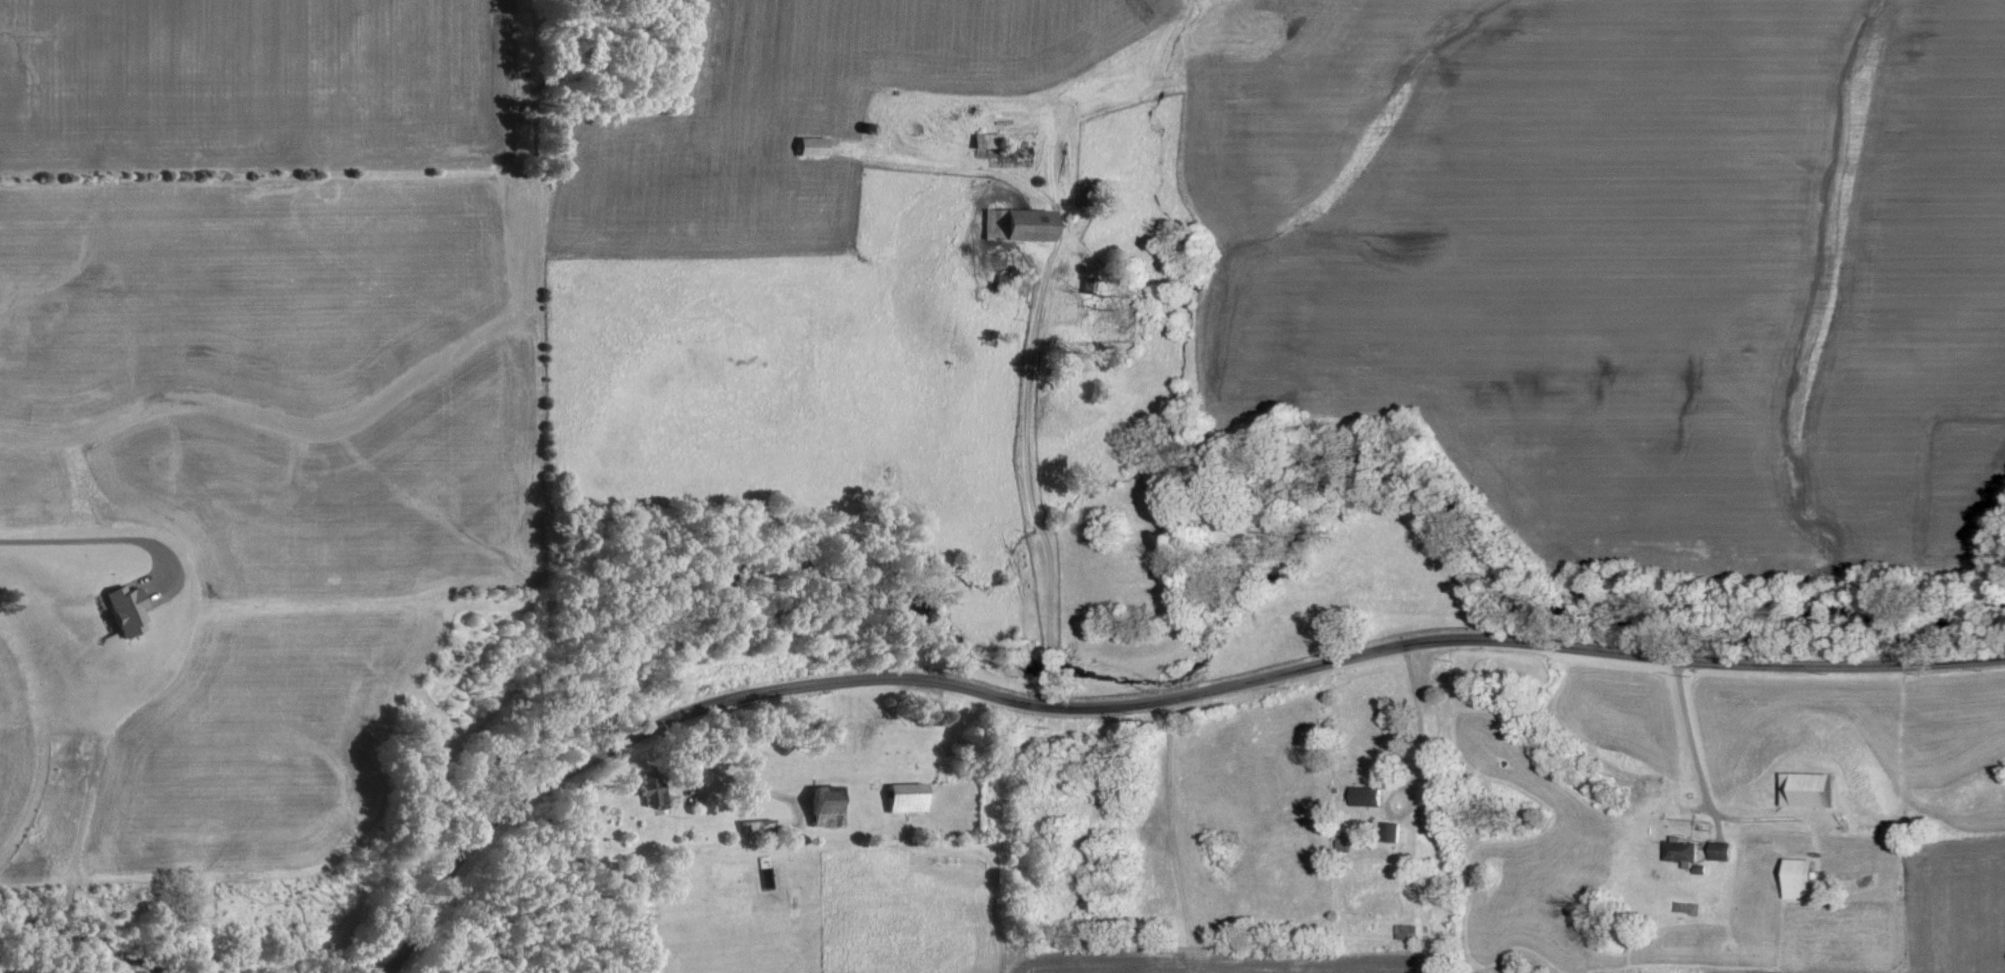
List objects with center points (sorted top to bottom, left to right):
building: (987, 140)
building: (813, 147)
building: (1019, 225)
road: (1027, 478)
road: (86, 542)
building: (129, 610)
road: (1528, 641)
road: (673, 719)
road: (1419, 721)
road: (1691, 736)
road: (724, 774)
building: (1818, 790)
building: (654, 792)
building: (1370, 795)
building: (909, 798)
building: (829, 813)
building: (1723, 851)
building: (1690, 855)
building: (1807, 880)

